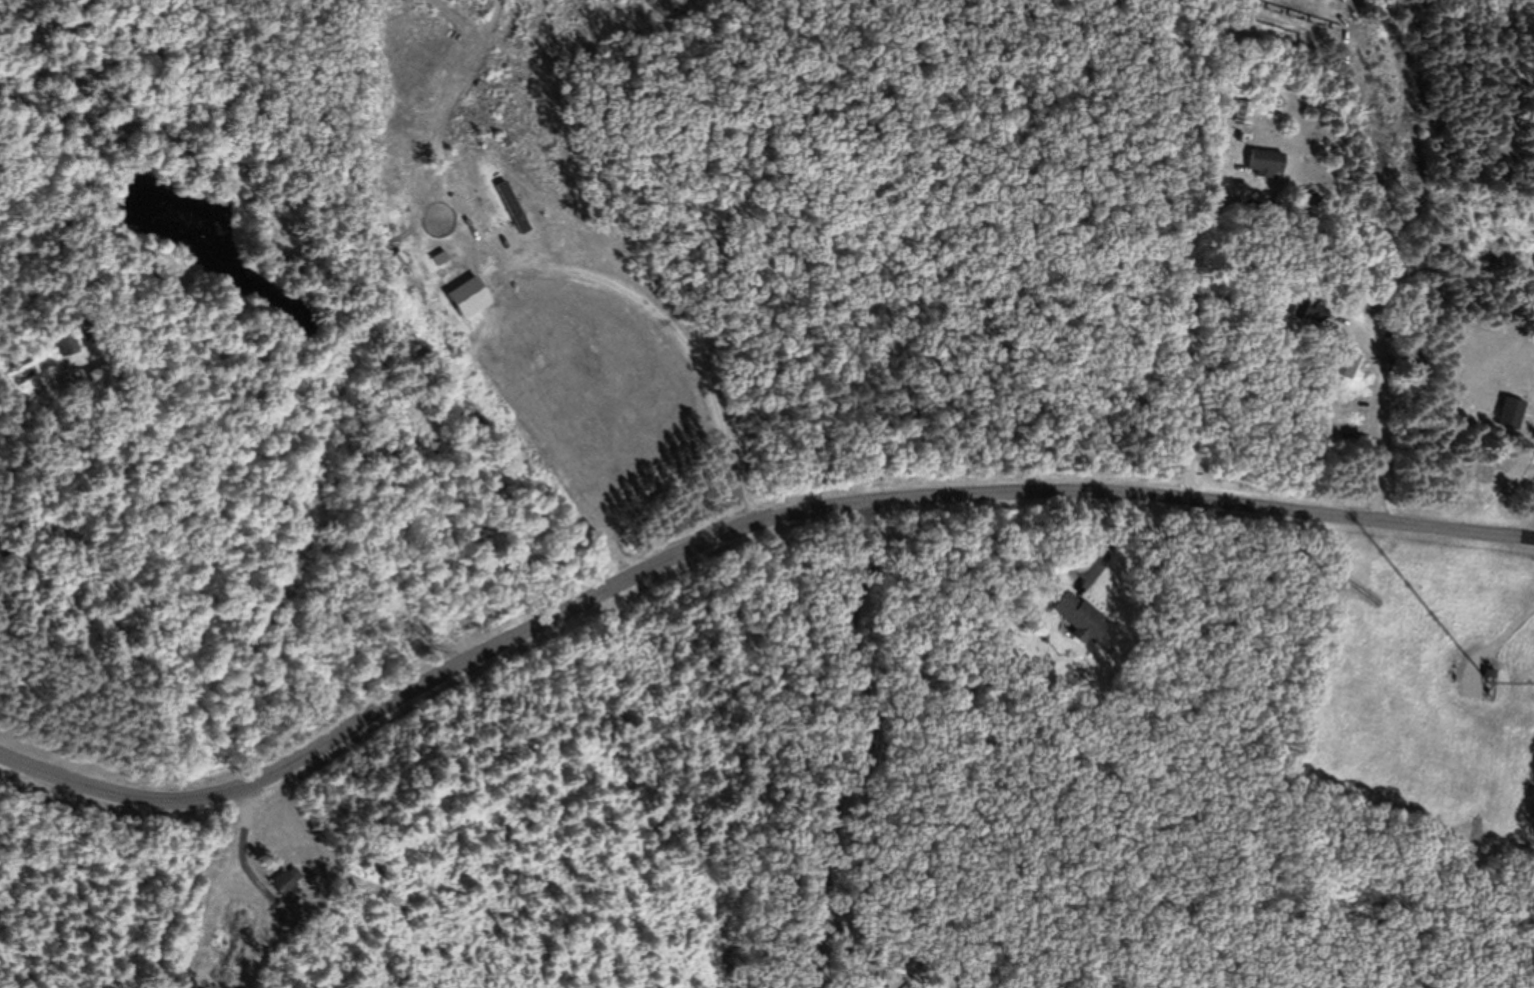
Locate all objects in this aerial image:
building: (1271, 164)
building: (1316, 312)
building: (71, 347)
building: (1352, 364)
building: (101, 380)
road: (21, 406)
building: (1516, 414)
road: (1385, 425)
road: (448, 510)
road: (733, 525)
building: (18, 561)
building: (1081, 618)

